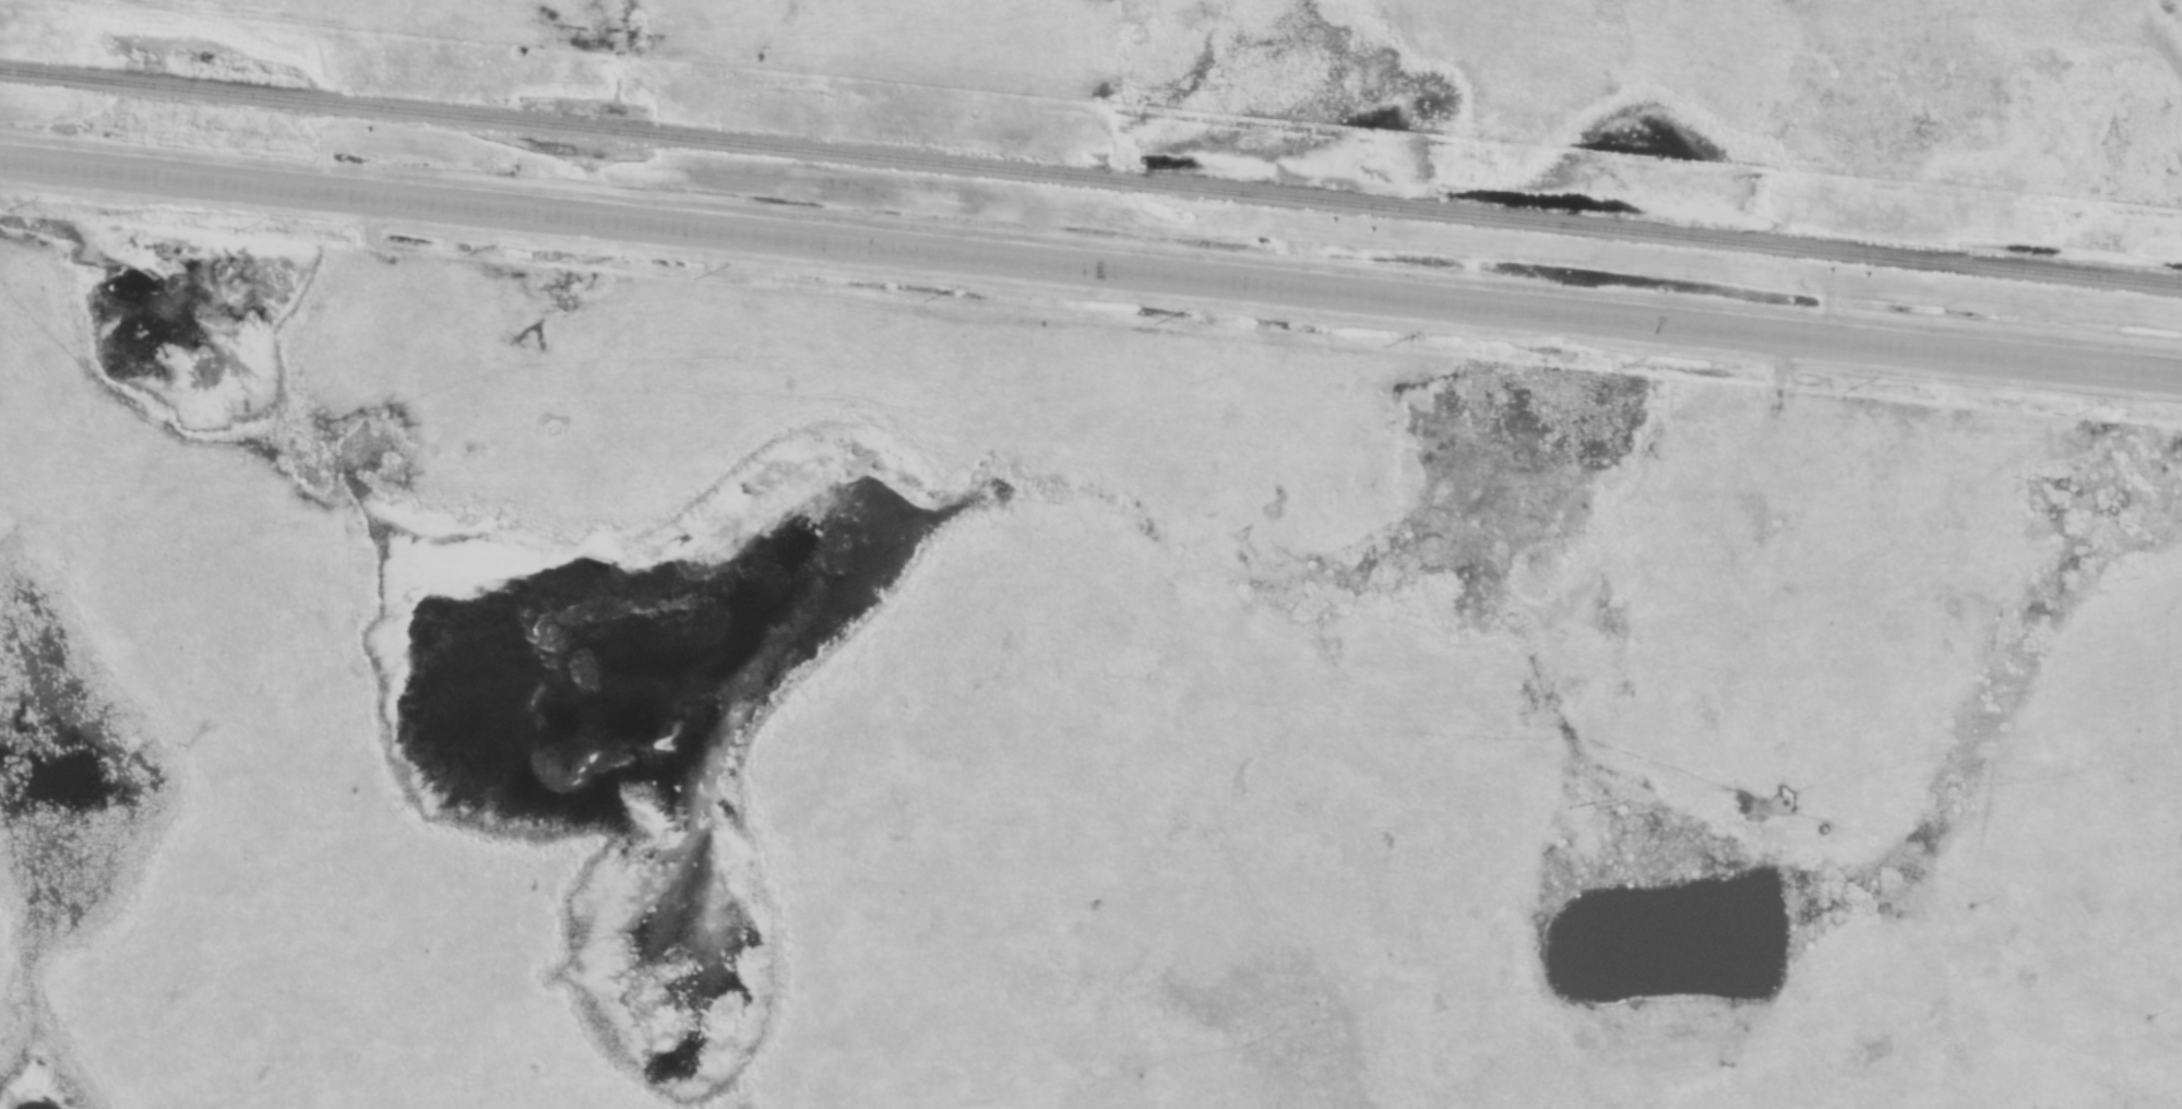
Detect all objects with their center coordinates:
railway: (1090, 177)
road: (1090, 267)

